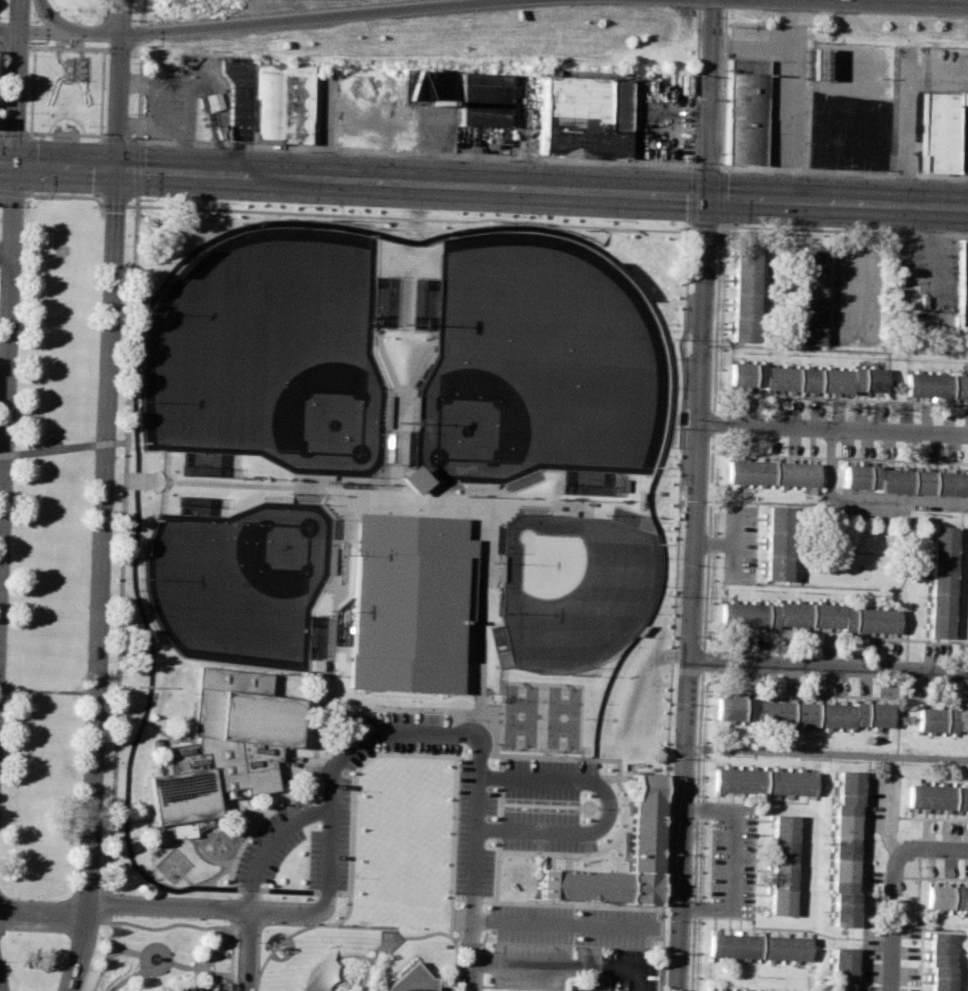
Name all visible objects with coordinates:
street lamp: (62, 8)
street lamp: (78, 9)
park: (81, 10)
road: (143, 12)
road: (21, 16)
road: (314, 16)
road: (50, 17)
road: (10, 30)
traffic signals: (21, 32)
road: (71, 32)
road: (142, 32)
traffic signals: (122, 34)
street lamp: (44, 43)
street lamp: (93, 45)
road: (70, 47)
street lamp: (29, 54)
road: (68, 60)
street lamp: (131, 63)
road: (68, 72)
road: (67, 81)
building: (410, 86)
park: (67, 89)
road: (139, 91)
road: (17, 97)
building: (963, 97)
road: (711, 98)
building: (268, 99)
building: (483, 104)
street lamp: (27, 111)
street lamp: (130, 112)
building: (585, 116)
building: (746, 118)
road: (788, 122)
building: (940, 133)
road: (65, 134)
street lamp: (136, 137)
road: (416, 152)
traffic signals: (15, 163)
road: (705, 165)
road: (138, 169)
road: (803, 169)
traffic signals: (117, 170)
road: (902, 173)
road: (265, 175)
road: (940, 175)
road: (904, 186)
road: (12, 192)
road: (619, 192)
road: (67, 194)
traffic signals: (708, 196)
road: (838, 200)
street lamp: (128, 202)
road: (114, 205)
road: (136, 206)
road: (450, 220)
road: (900, 231)
road: (940, 233)
road: (719, 238)
road: (6, 247)
street lamp: (99, 272)
street lamp: (22, 280)
building: (962, 284)
building: (744, 289)
building: (812, 292)
road: (142, 324)
street lamp: (121, 342)
park: (270, 353)
road: (385, 363)
park: (537, 366)
road: (7, 371)
building: (805, 377)
building: (937, 383)
building: (386, 411)
road: (402, 412)
building: (414, 412)
road: (712, 422)
road: (833, 427)
street lamp: (93, 437)
road: (114, 441)
road: (96, 442)
street lamp: (16, 445)
road: (59, 448)
road: (7, 454)
road: (2, 469)
building: (769, 473)
building: (314, 476)
building: (903, 477)
building: (412, 478)
road: (135, 480)
building: (478, 484)
road: (368, 492)
road: (101, 496)
building: (276, 498)
road: (863, 499)
road: (675, 504)
building: (561, 512)
street lamp: (114, 526)
road: (708, 540)
road: (732, 542)
building: (776, 542)
road: (713, 543)
park: (51, 545)
park: (395, 556)
building: (332, 560)
building: (500, 568)
building: (940, 579)
park: (239, 580)
park: (569, 586)
road: (692, 593)
building: (408, 603)
street lamp: (10, 605)
street lamp: (86, 606)
road: (477, 615)
building: (808, 618)
road: (704, 658)
road: (829, 664)
road: (479, 683)
road: (47, 692)
street lamp: (107, 694)
road: (829, 695)
road: (933, 699)
building: (801, 713)
park: (541, 716)
building: (942, 719)
road: (479, 720)
road: (153, 725)
building: (223, 743)
road: (409, 754)
road: (827, 754)
road: (339, 761)
street lamp: (80, 772)
building: (763, 780)
building: (936, 795)
parking lot: (464, 798)
flagpole: (588, 807)
road: (607, 807)
road: (137, 819)
road: (477, 825)
road: (696, 829)
parking lot: (273, 841)
road: (269, 842)
building: (643, 843)
building: (846, 845)
road: (937, 847)
road: (206, 858)
road: (754, 860)
building: (782, 864)
street lamp: (101, 865)
road: (191, 865)
road: (120, 871)
road: (218, 873)
road: (864, 873)
road: (158, 878)
road: (187, 879)
road: (288, 890)
street lamp: (36, 897)
building: (948, 899)
road: (556, 903)
road: (166, 906)
road: (916, 911)
road: (282, 912)
road: (43, 914)
street lamp: (115, 916)
street lamp: (151, 916)
street lamp: (187, 918)
road: (893, 918)
street lamp: (223, 919)
street lamp: (267, 922)
street lamp: (304, 922)
road: (300, 923)
road: (561, 923)
street lamp: (338, 924)
street lamp: (374, 925)
parking lot: (573, 925)
road: (204, 926)
street lamp: (98, 927)
street lamp: (410, 927)
street lamp: (447, 928)
road: (802, 929)
road: (418, 936)
road: (109, 941)
street lamp: (256, 941)
road: (278, 943)
building: (756, 946)
road: (126, 949)
street lamp: (480, 950)
road: (246, 951)
road: (114, 952)
park: (162, 952)
road: (352, 955)
road: (471, 955)
park: (34, 958)
road: (206, 959)
road: (482, 960)
street lamp: (5, 961)
building: (939, 961)
road: (542, 965)
parking lot: (572, 966)
road: (624, 966)
street lamp: (61, 968)
road: (158, 968)
building: (839, 968)
street lamp: (255, 970)
building: (319, 971)
road: (214, 972)
building: (411, 980)
street lamp: (478, 985)
parking lot: (200, 987)
road: (326, 988)
road: (0, 989)
building: (744, 989)

